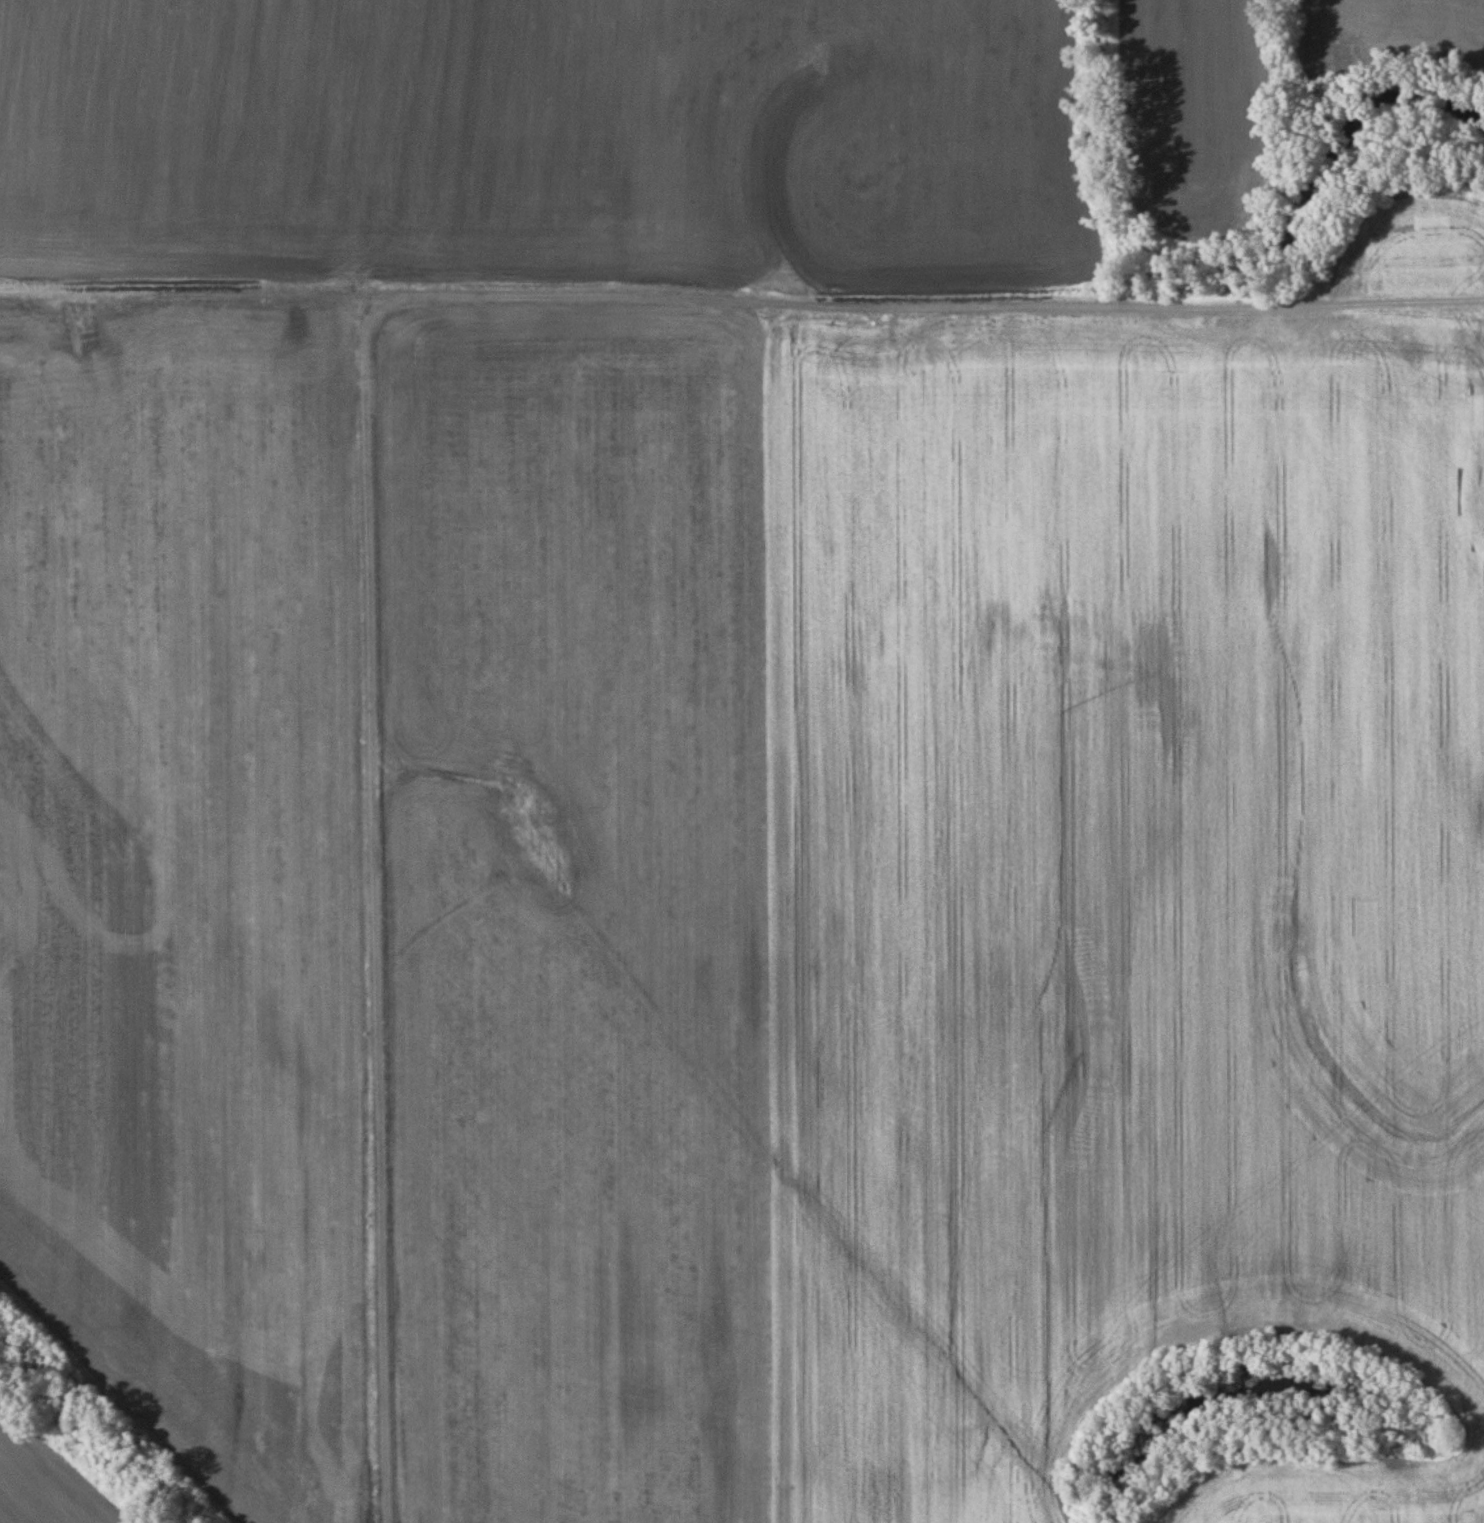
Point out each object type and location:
road: (741, 300)

